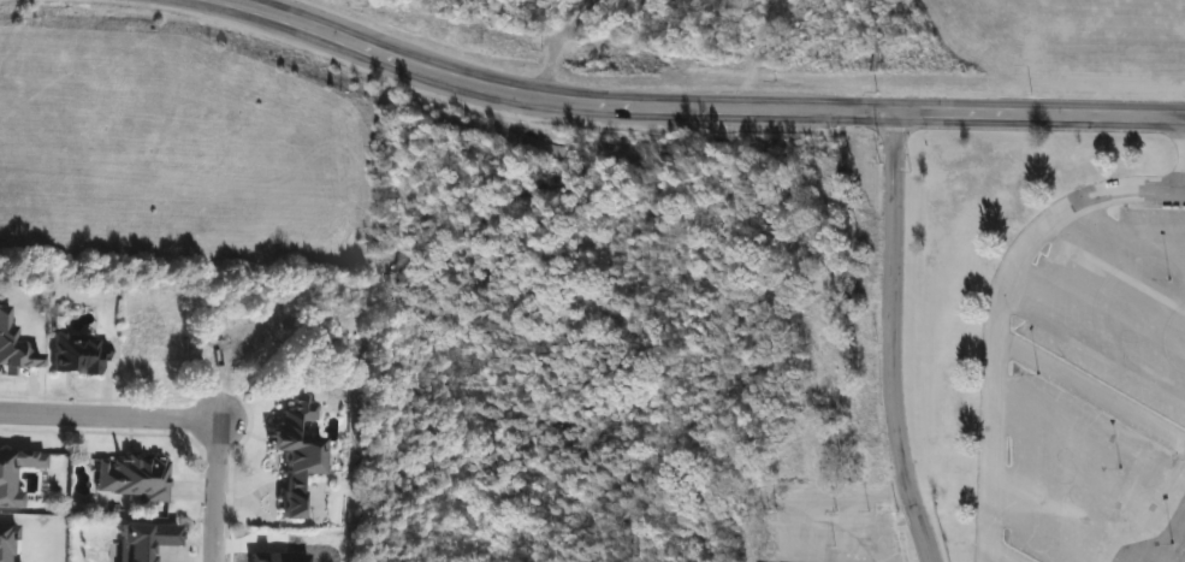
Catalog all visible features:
road: (701, 108)
road: (1184, 165)
road: (995, 312)
building: (4, 329)
road: (889, 339)
building: (73, 355)
road: (1090, 391)
parking lot: (1098, 392)
road: (113, 419)
building: (289, 451)
building: (130, 479)
road: (225, 492)
building: (138, 539)
road: (997, 556)

